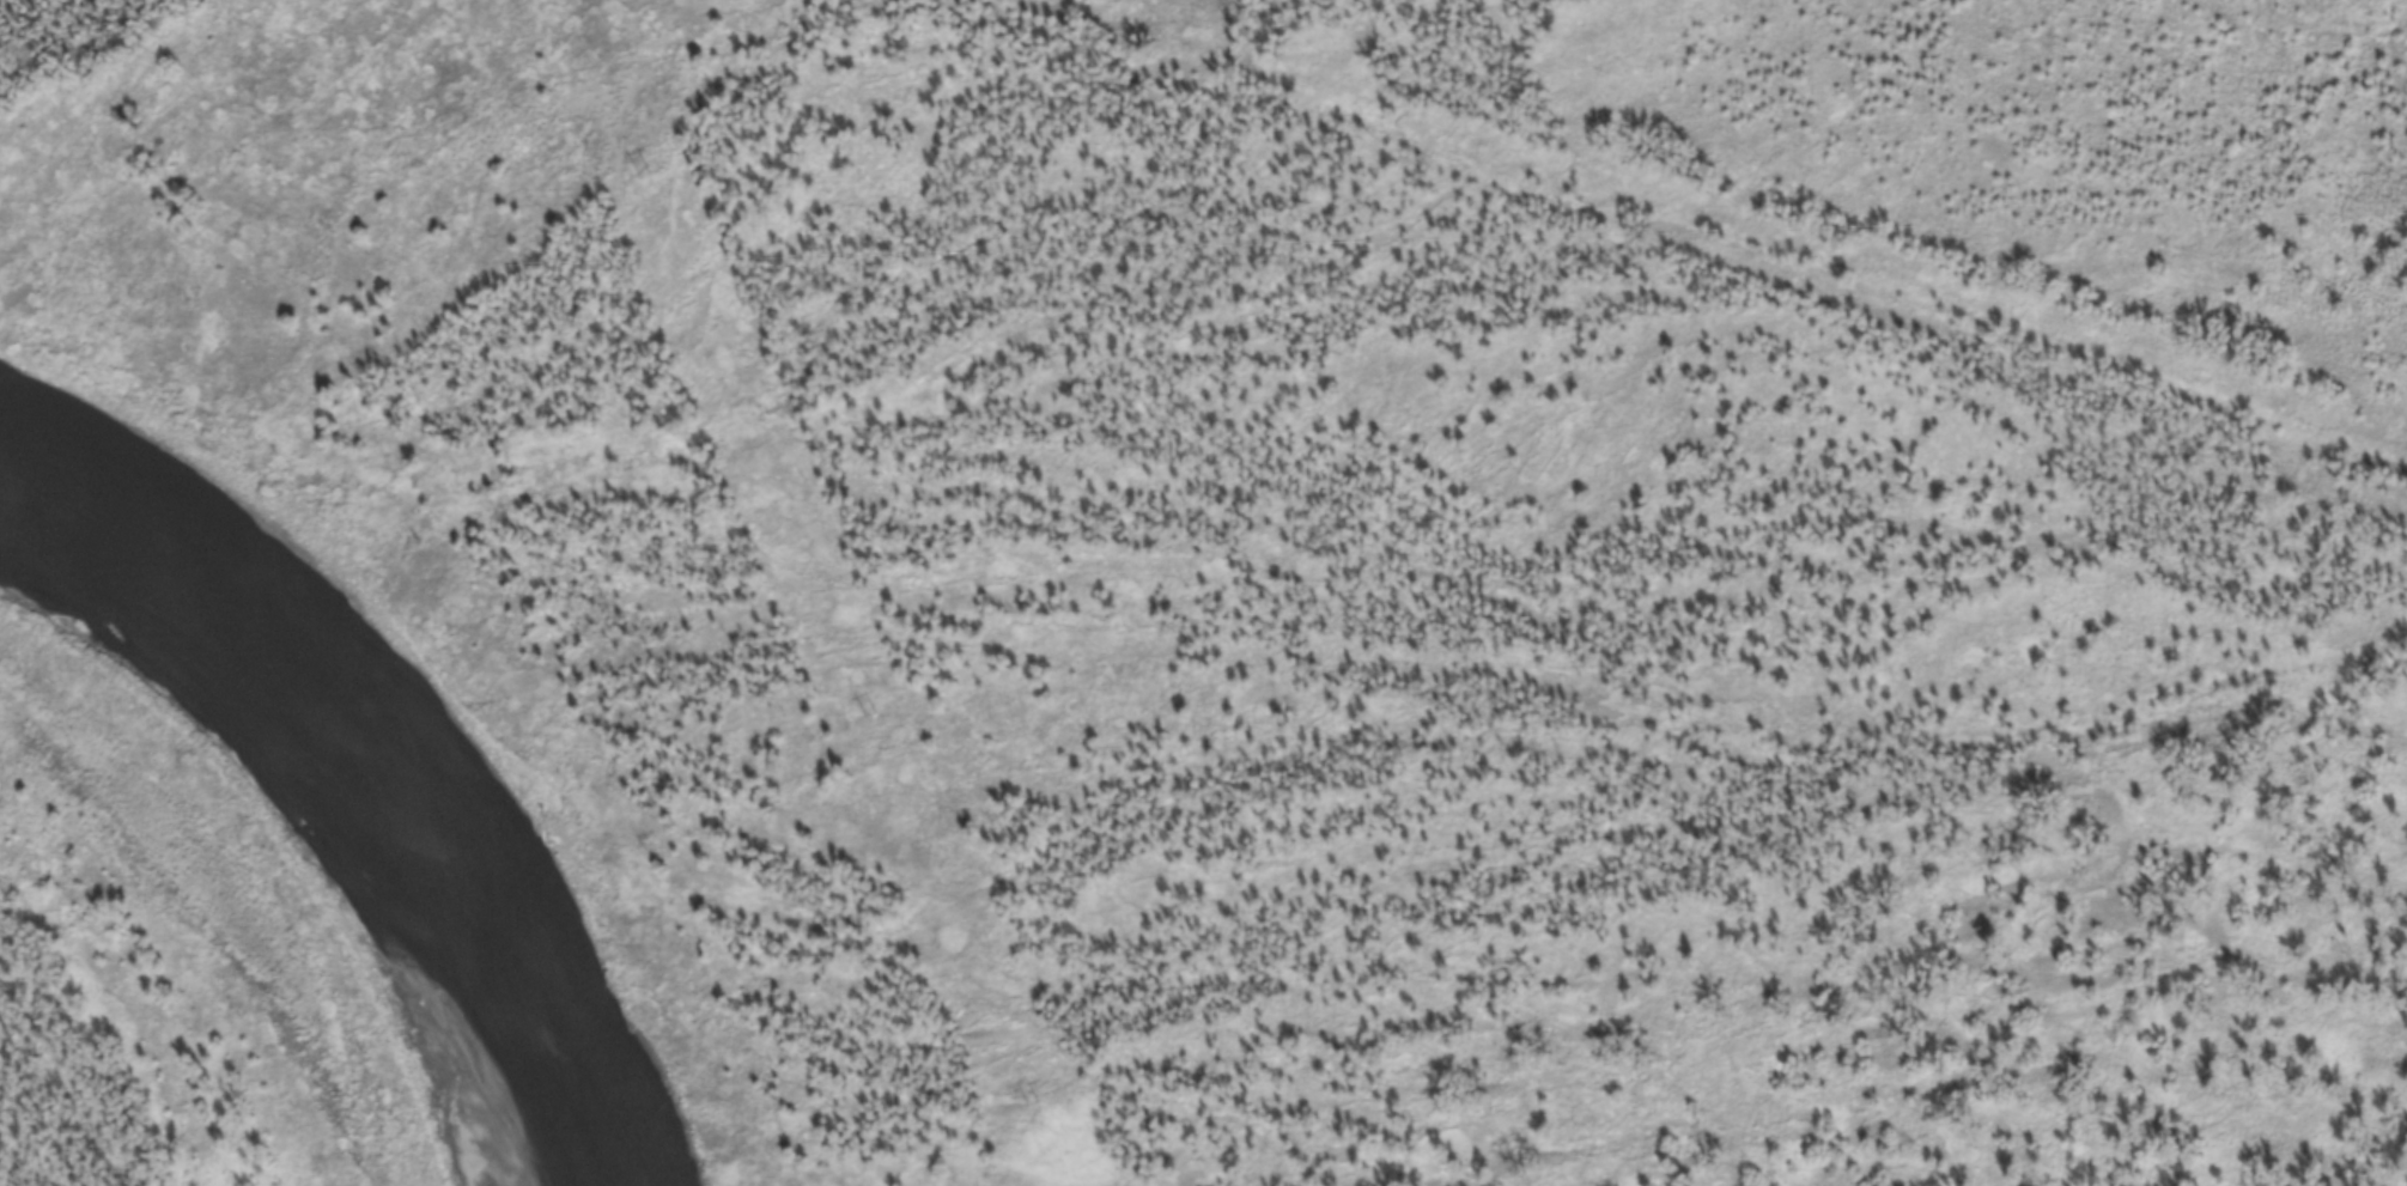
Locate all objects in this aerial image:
power tower: (646, 177)
power tower: (873, 716)
river: (334, 755)
power tower: (1033, 1103)

